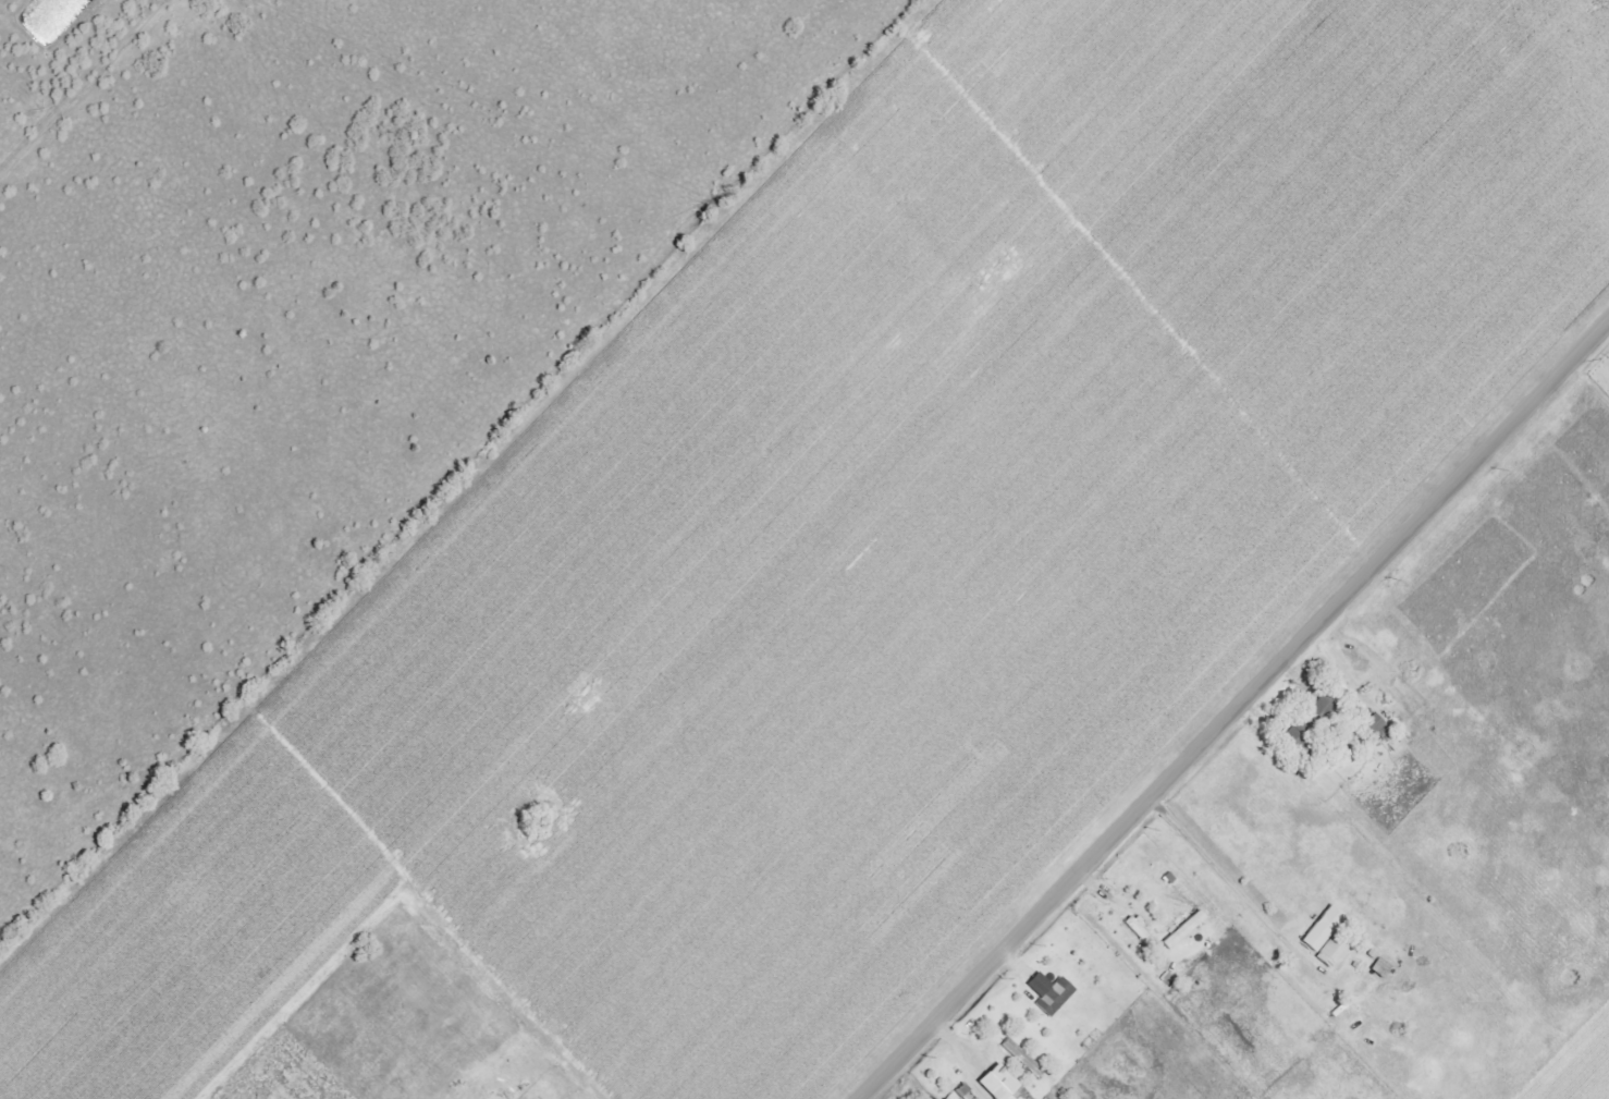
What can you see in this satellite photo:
road: (1236, 712)
building: (1373, 724)
road: (1220, 875)
building: (1182, 929)
building: (1319, 932)
building: (1141, 938)
building: (1329, 954)
building: (1047, 994)
building: (1021, 1057)
crop: (1580, 1069)
building: (1000, 1085)

